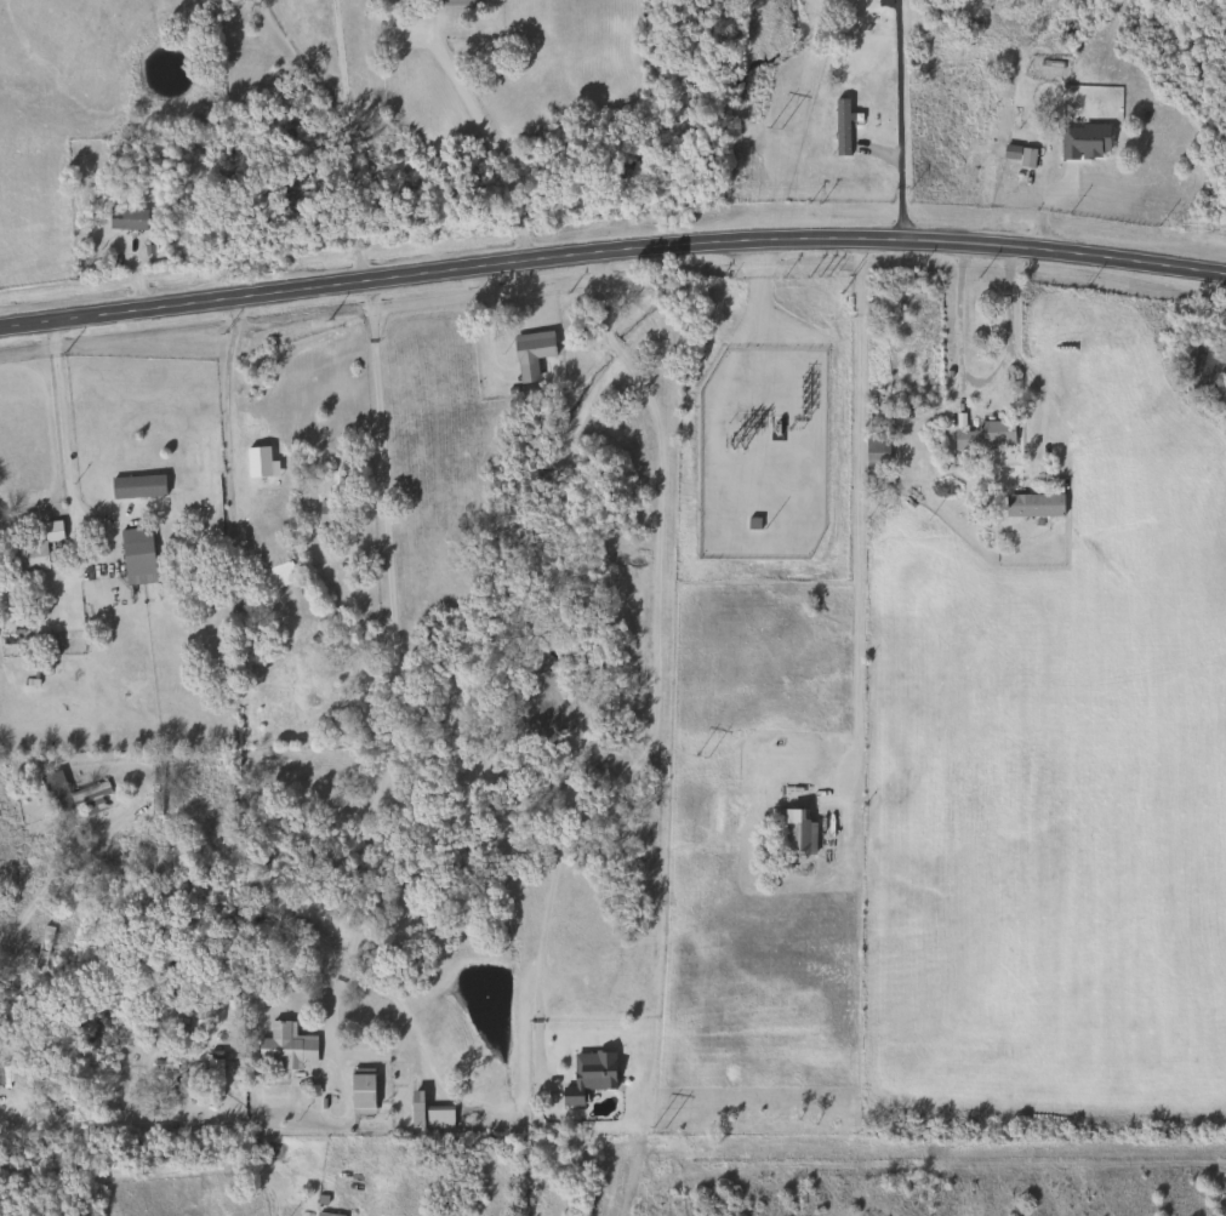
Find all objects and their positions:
building: (456, 0)
road: (301, 51)
road: (896, 120)
power tower: (775, 130)
road: (347, 141)
building: (1080, 142)
road: (485, 145)
building: (122, 219)
road: (611, 250)
road: (957, 321)
road: (1008, 342)
building: (528, 353)
road: (224, 424)
building: (982, 436)
road: (59, 438)
power tower: (739, 443)
power substation: (763, 455)
building: (872, 455)
building: (133, 487)
road: (856, 507)
building: (325, 514)
building: (28, 553)
building: (133, 556)
building: (275, 575)
road: (390, 655)
road: (654, 680)
power tower: (703, 759)
building: (153, 789)
building: (65, 793)
building: (792, 833)
road: (46, 883)
building: (39, 948)
building: (283, 1049)
building: (359, 1092)
building: (426, 1114)
power tower: (658, 1127)
road: (150, 1172)
building: (323, 1215)

